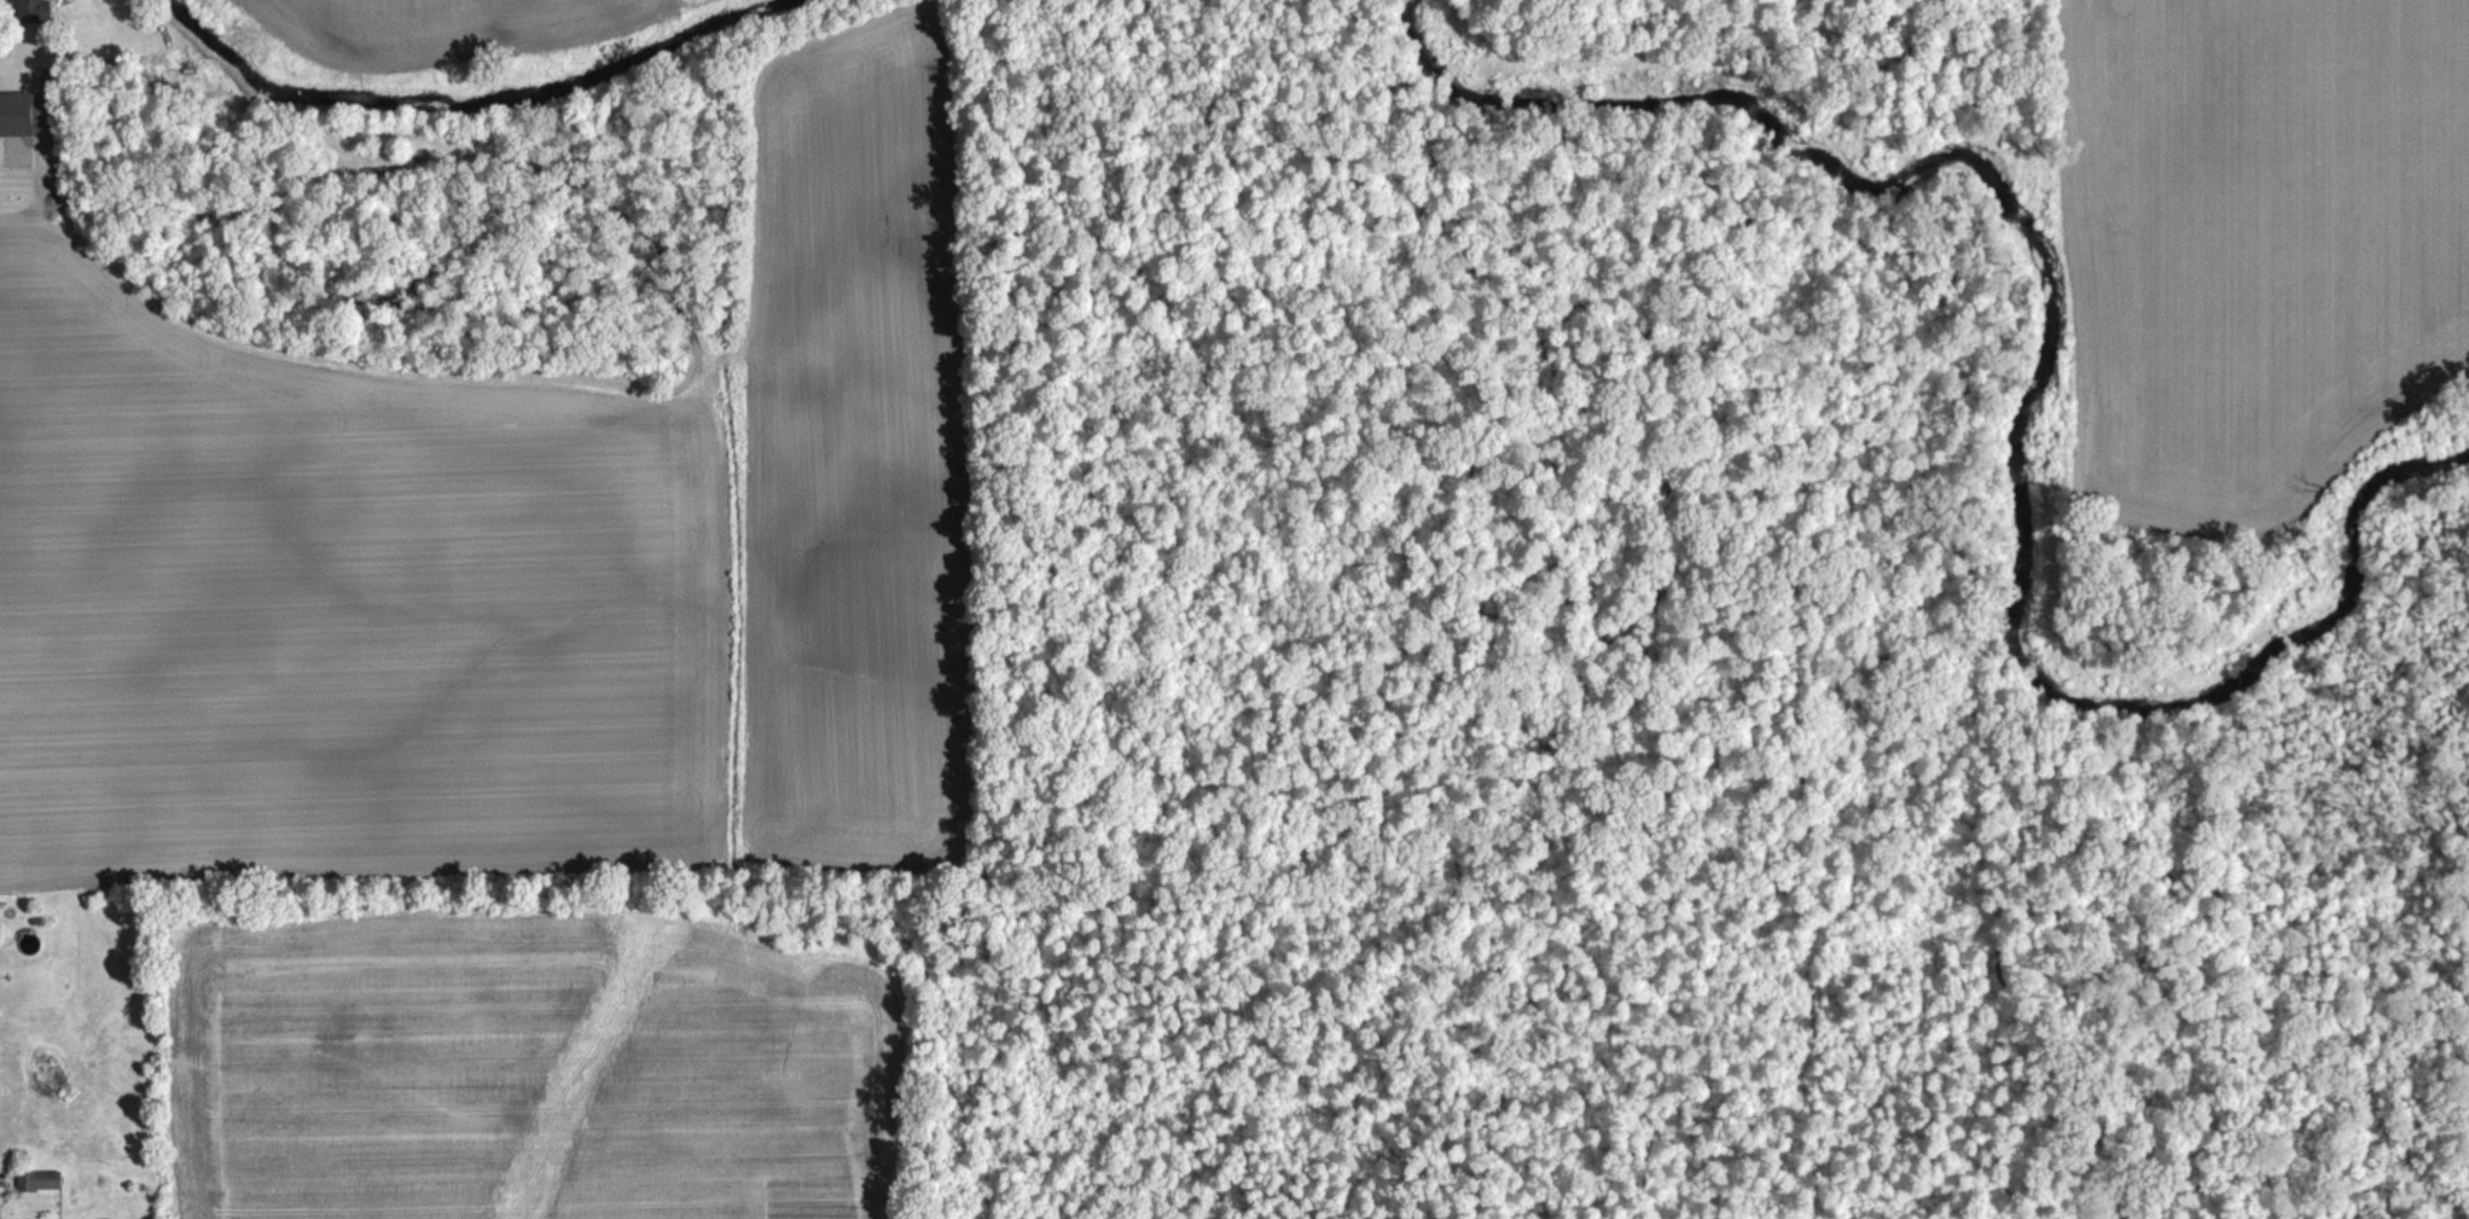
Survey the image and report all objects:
building: (29, 19)
building: (21, 129)
road: (46, 144)
building: (39, 1196)

